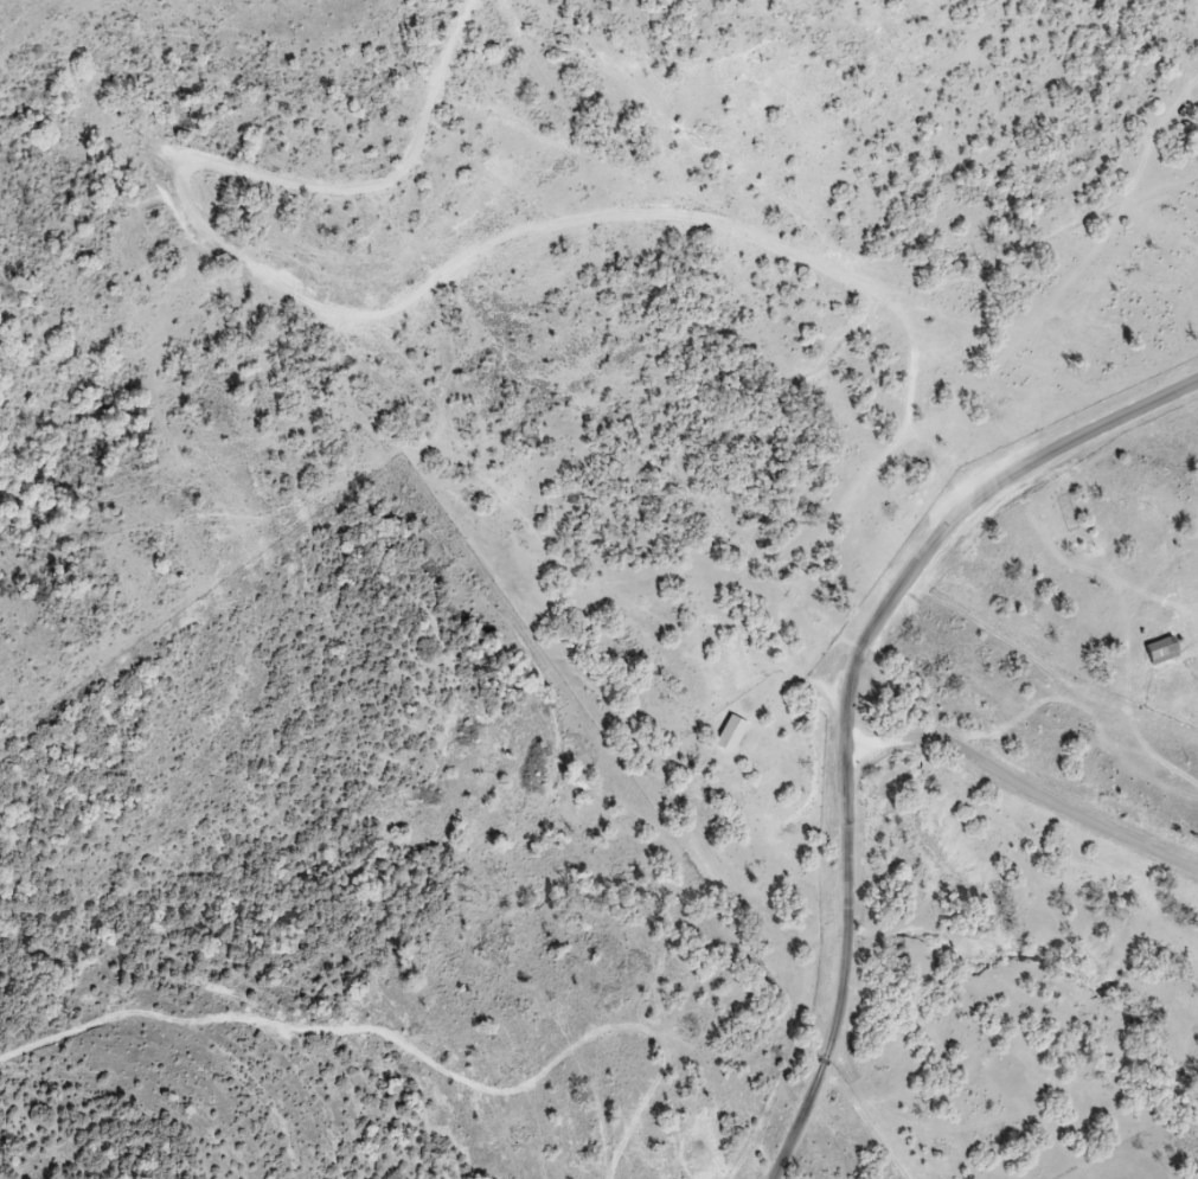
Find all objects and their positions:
road: (947, 527)
building: (1162, 652)
road: (847, 790)

